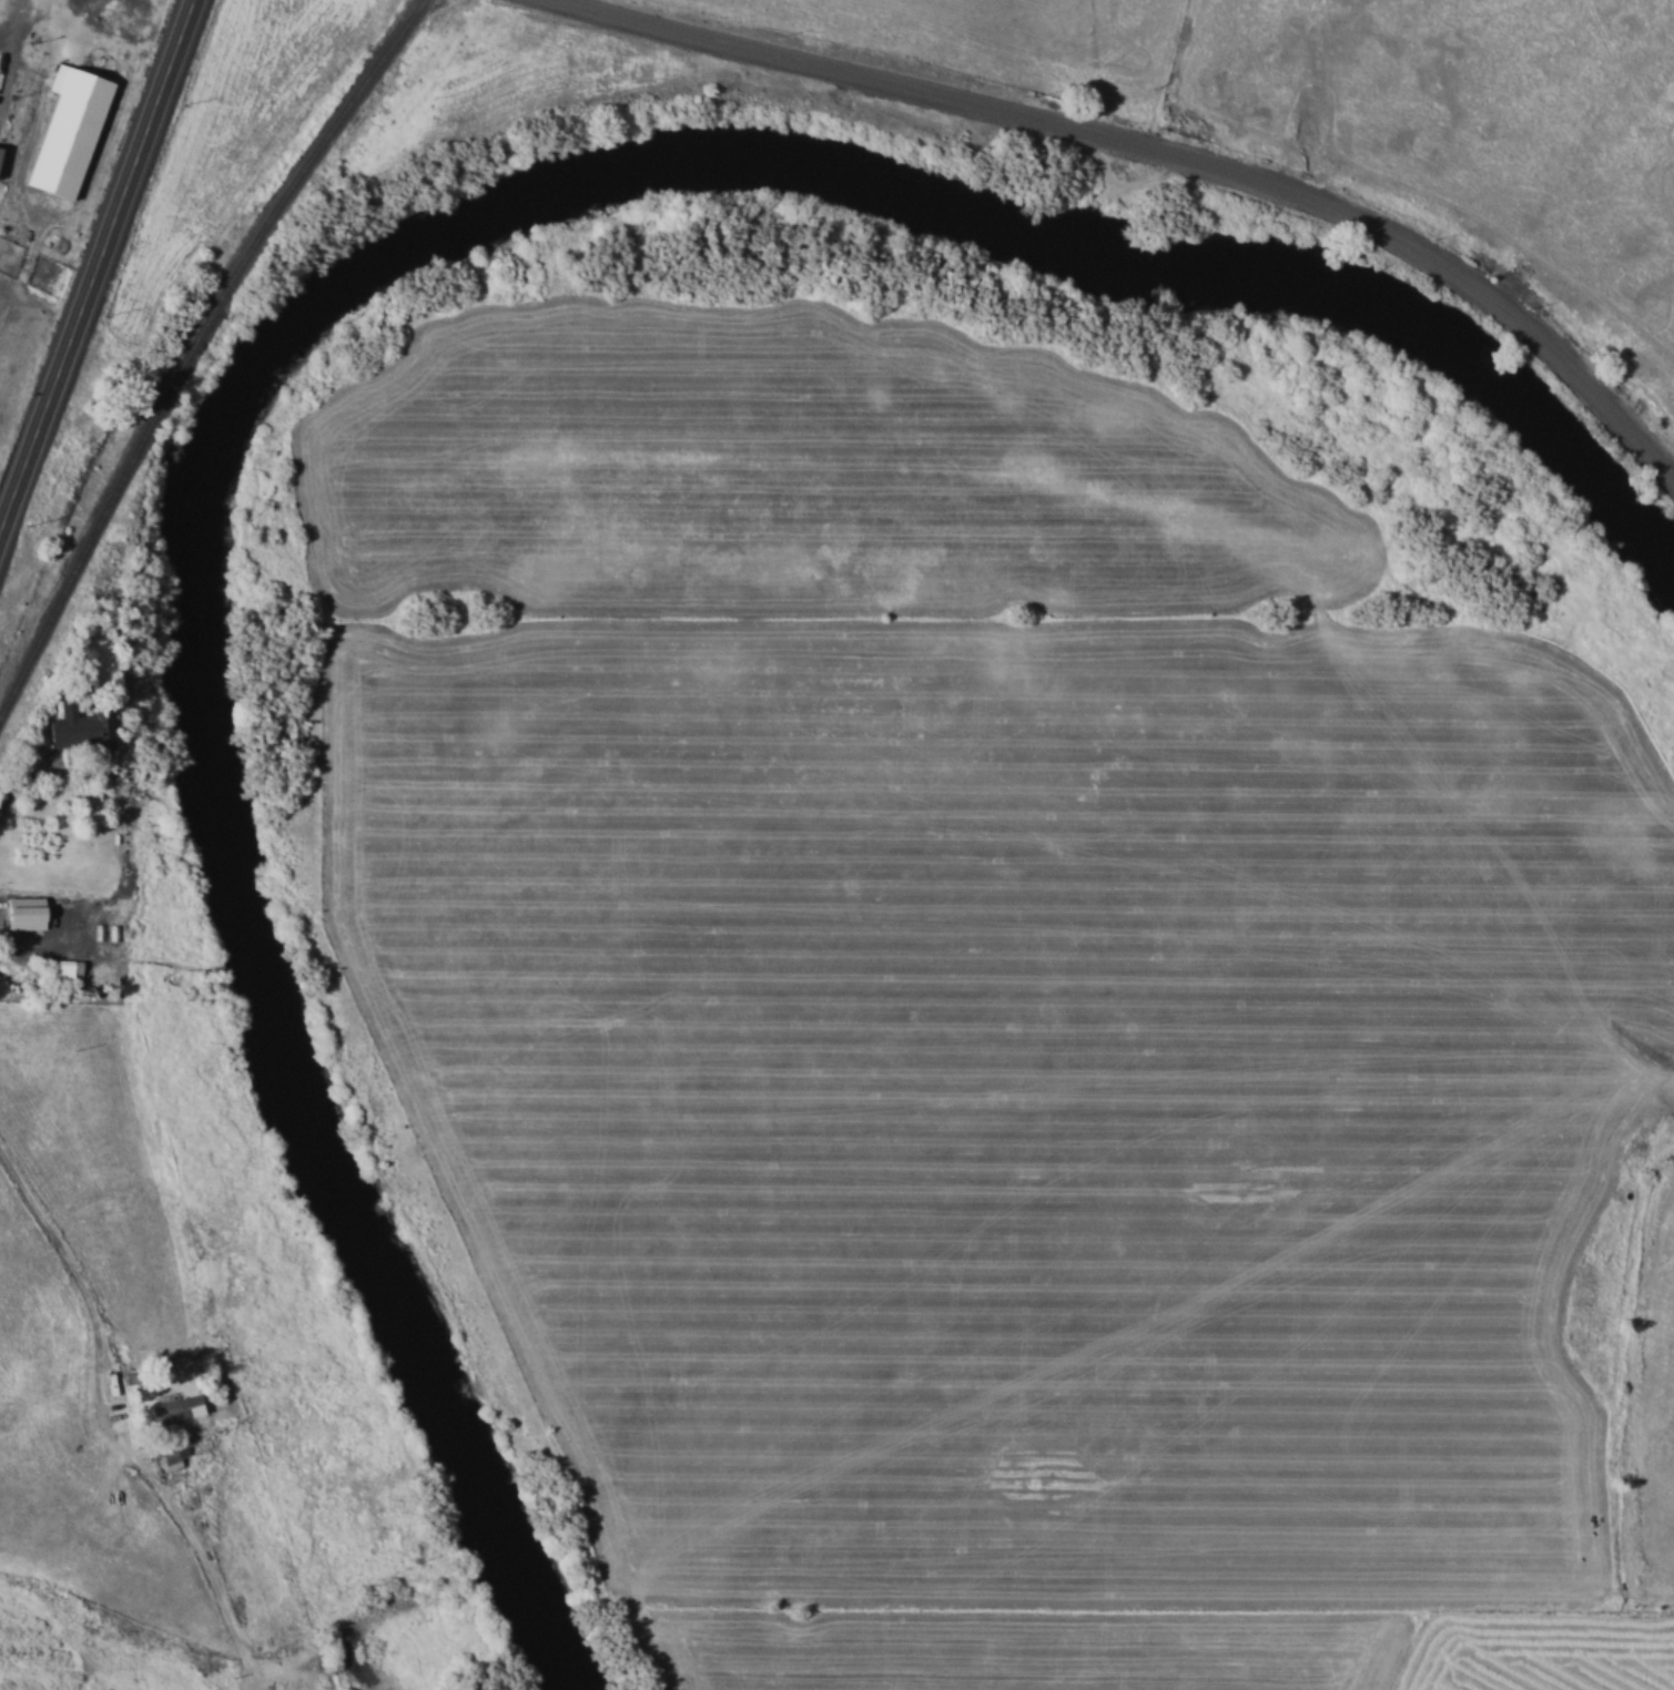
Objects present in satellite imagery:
road: (16, 18)
building: (67, 130)
building: (0, 146)
road: (1163, 151)
road: (97, 263)
river: (318, 305)
railway: (189, 343)
building: (67, 725)
building: (22, 913)
road: (35, 933)
building: (63, 971)
building: (175, 1409)
building: (170, 1459)

